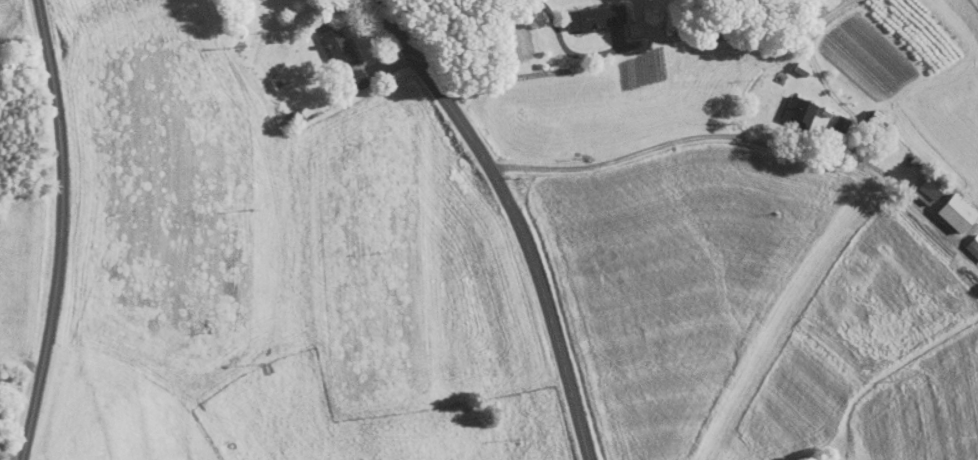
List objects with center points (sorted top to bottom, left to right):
road: (431, 7)
building: (586, 11)
building: (624, 23)
building: (327, 40)
road: (570, 52)
building: (348, 73)
building: (790, 102)
road: (753, 142)
building: (920, 184)
building: (948, 206)
road: (514, 215)
road: (62, 230)
building: (968, 241)
road: (6, 453)

